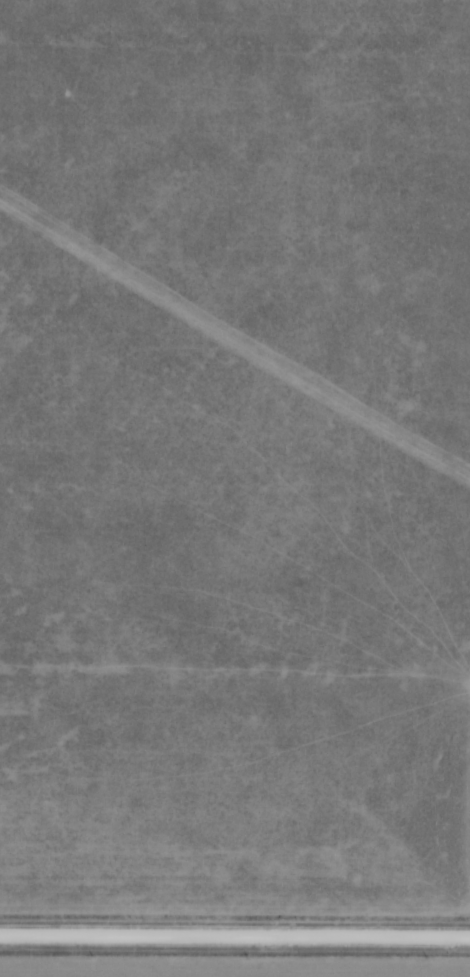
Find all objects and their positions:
road: (234, 936)

